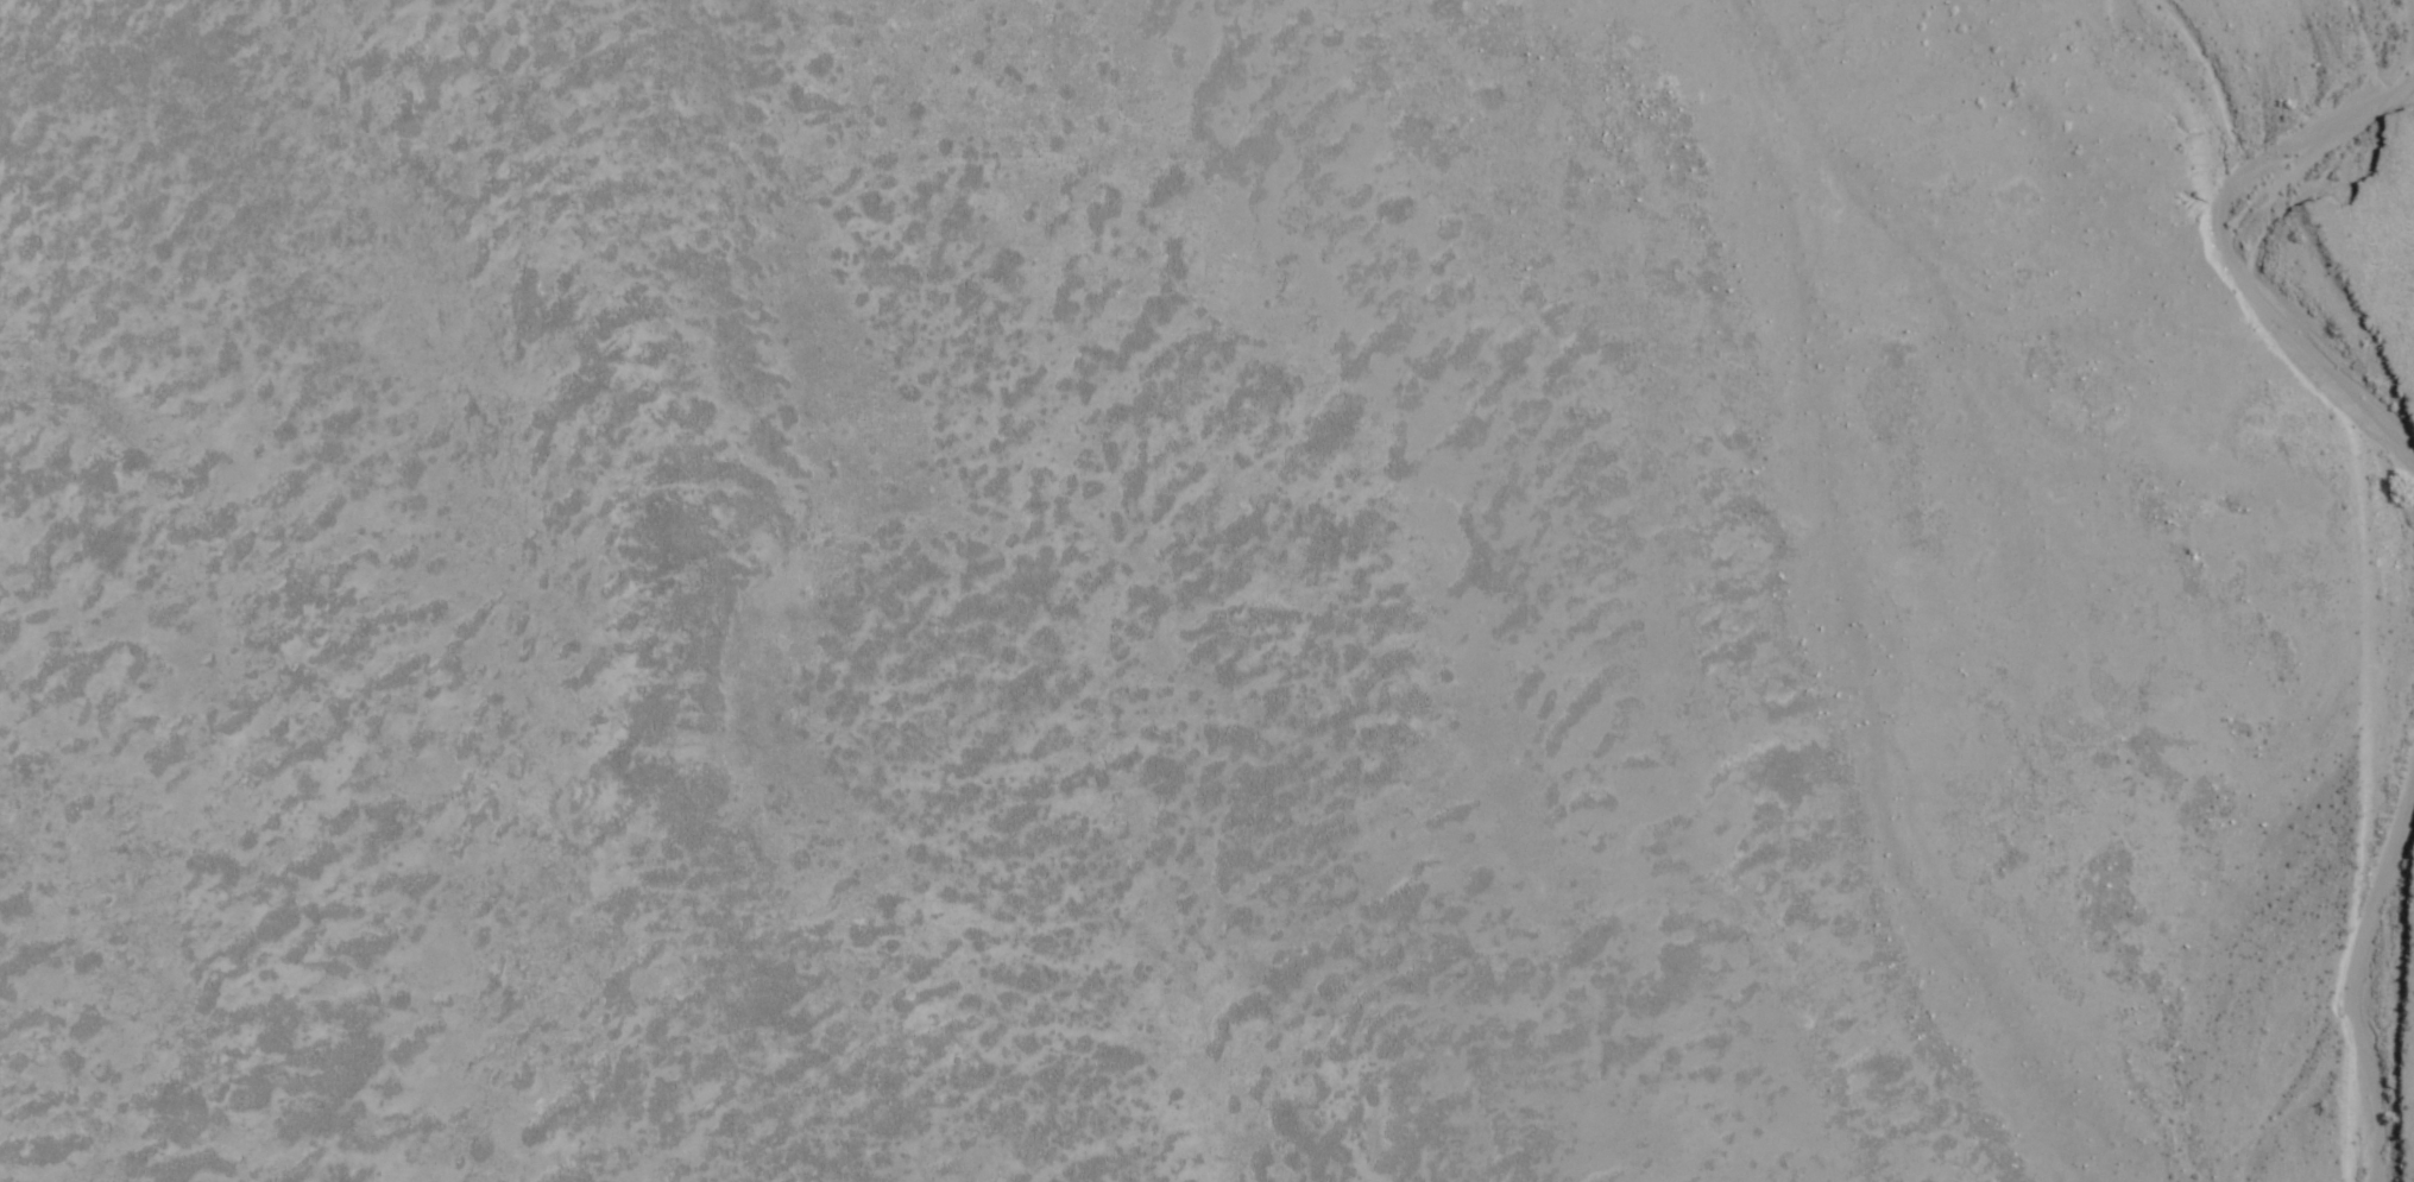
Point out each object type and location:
river: (2283, 286)
river: (2376, 917)

